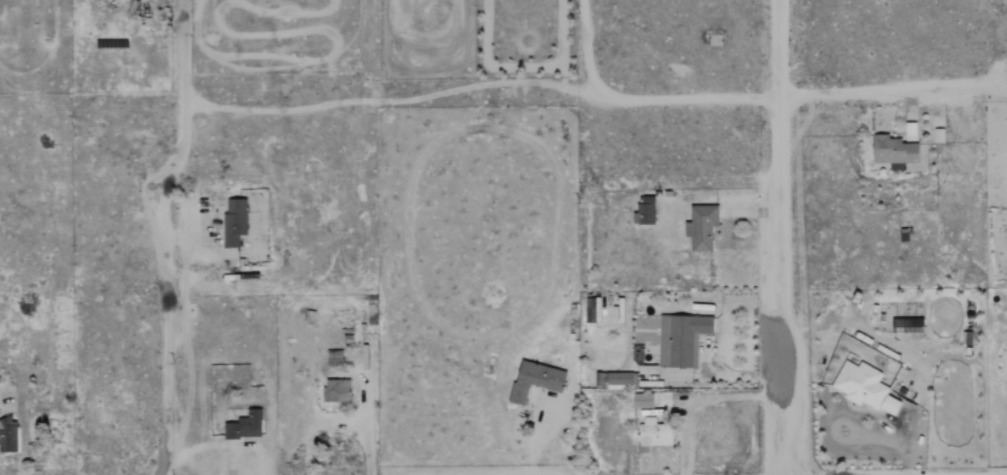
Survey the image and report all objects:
road: (182, 59)
road: (892, 91)
road: (642, 101)
building: (893, 151)
building: (644, 211)
building: (233, 221)
building: (700, 226)
road: (780, 237)
road: (166, 295)
building: (591, 309)
building: (906, 325)
building: (680, 339)
building: (534, 379)
building: (620, 379)
building: (864, 387)
building: (336, 390)
building: (642, 400)
road: (366, 408)
building: (244, 425)
road: (338, 425)
building: (654, 432)
building: (7, 434)
road: (545, 436)

